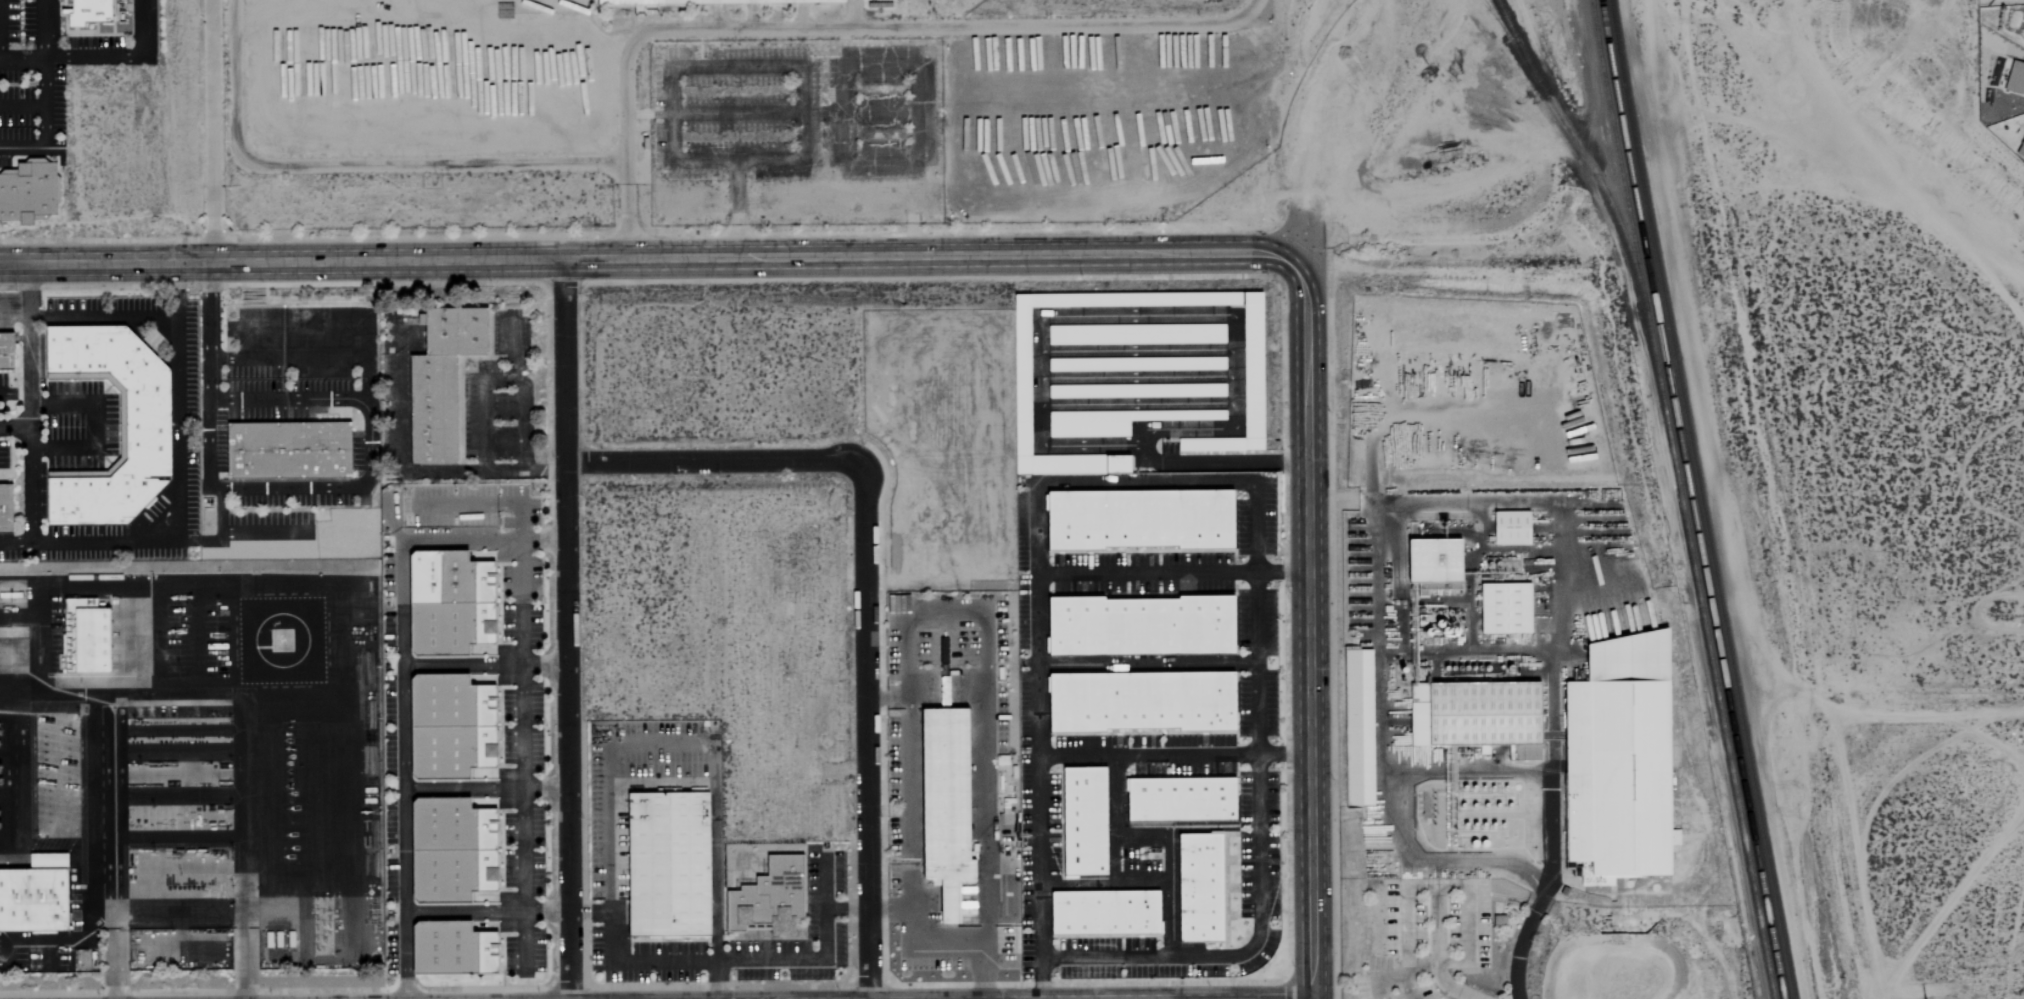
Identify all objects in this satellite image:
building: (711, 2)
railway: (1499, 6)
railway: (1497, 19)
road: (834, 28)
road: (40, 30)
railway: (1512, 42)
road: (96, 57)
street lamp: (633, 77)
building: (2014, 79)
road: (814, 85)
street lamp: (881, 89)
street lamp: (741, 90)
road: (914, 97)
road: (22, 105)
parking lot: (790, 112)
road: (44, 125)
road: (211, 129)
street lamp: (881, 134)
street lamp: (742, 136)
building: (2021, 142)
railway: (1581, 149)
road: (352, 165)
street lamp: (591, 175)
street lamp: (287, 177)
street lamp: (429, 178)
building: (28, 187)
road: (737, 207)
street lamp: (720, 224)
street lamp: (633, 225)
road: (644, 258)
road: (1122, 317)
road: (103, 318)
road: (208, 329)
building: (1135, 335)
road: (29, 345)
building: (5, 351)
building: (1134, 364)
building: (1251, 373)
building: (440, 380)
building: (1136, 391)
building: (1114, 421)
road: (99, 422)
building: (143, 425)
building: (287, 450)
road: (482, 463)
road: (1221, 463)
road: (31, 469)
road: (360, 483)
road: (1247, 485)
road: (177, 489)
railway: (1680, 499)
railway: (1689, 499)
railway: (1699, 499)
road: (1344, 505)
building: (4, 509)
road: (1737, 515)
building: (1137, 520)
building: (1509, 528)
building: (1433, 564)
road: (1171, 573)
road: (864, 584)
road: (54, 588)
road: (1555, 600)
building: (448, 604)
building: (1503, 609)
building: (1138, 627)
road: (1308, 628)
road: (564, 629)
building: (85, 637)
helipad: (280, 640)
road: (542, 663)
road: (1146, 663)
road: (461, 665)
road: (402, 670)
road: (176, 694)
road: (14, 697)
building: (1140, 702)
road: (6, 716)
building: (1476, 717)
road: (520, 726)
building: (448, 727)
building: (1357, 728)
road: (1173, 755)
road: (1379, 755)
road: (6, 758)
building: (1616, 762)
road: (12, 783)
road: (462, 790)
road: (543, 790)
road: (6, 800)
building: (1178, 800)
building: (944, 803)
building: (1083, 822)
road: (712, 840)
road: (113, 847)
road: (241, 849)
building: (449, 851)
road: (348, 860)
building: (666, 864)
road: (609, 869)
building: (1197, 888)
road: (323, 890)
building: (34, 891)
road: (1467, 893)
building: (767, 900)
road: (177, 910)
road: (425, 913)
building: (1103, 913)
road: (1525, 932)
road: (940, 939)
building: (451, 951)
road: (810, 960)
road: (640, 961)
road: (1418, 961)
road: (1037, 979)
road: (1377, 981)
road: (1403, 987)

